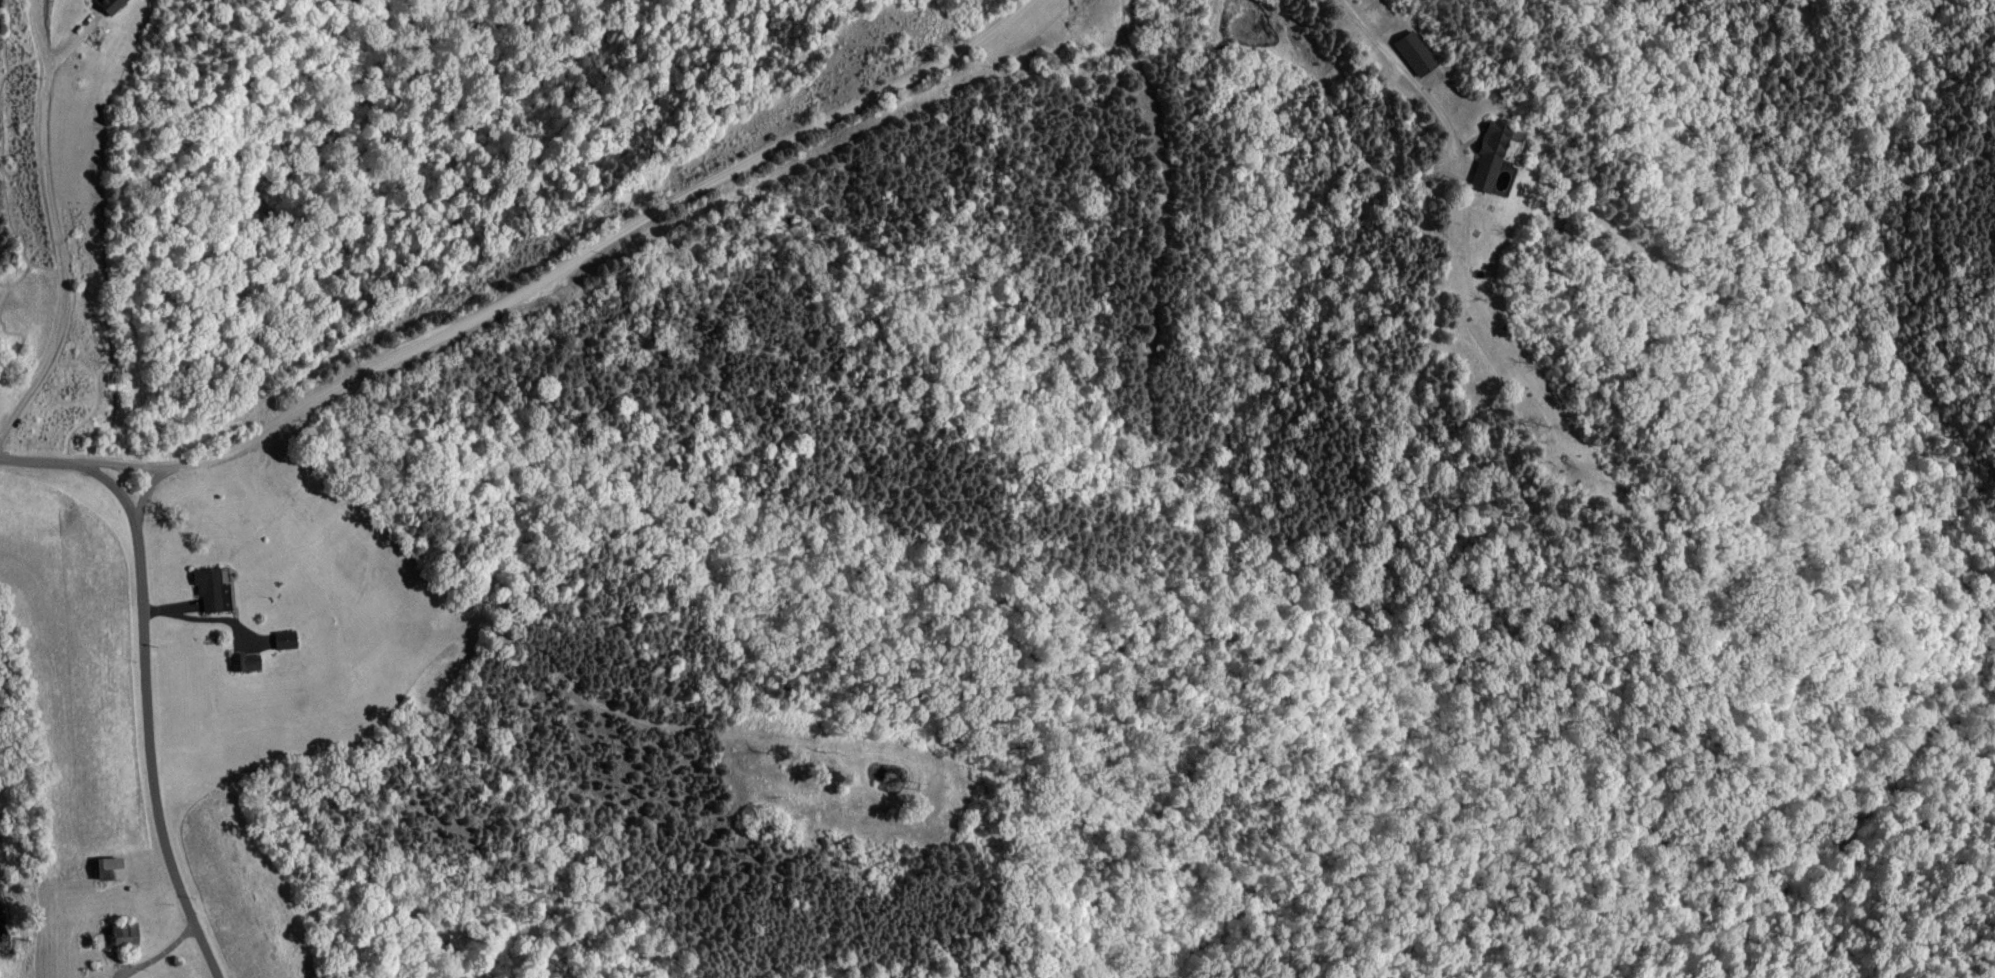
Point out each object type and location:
building: (110, 5)
building: (1408, 54)
building: (1483, 158)
road: (57, 230)
road: (591, 293)
road: (148, 500)
building: (213, 590)
building: (287, 639)
road: (147, 676)
road: (166, 960)

